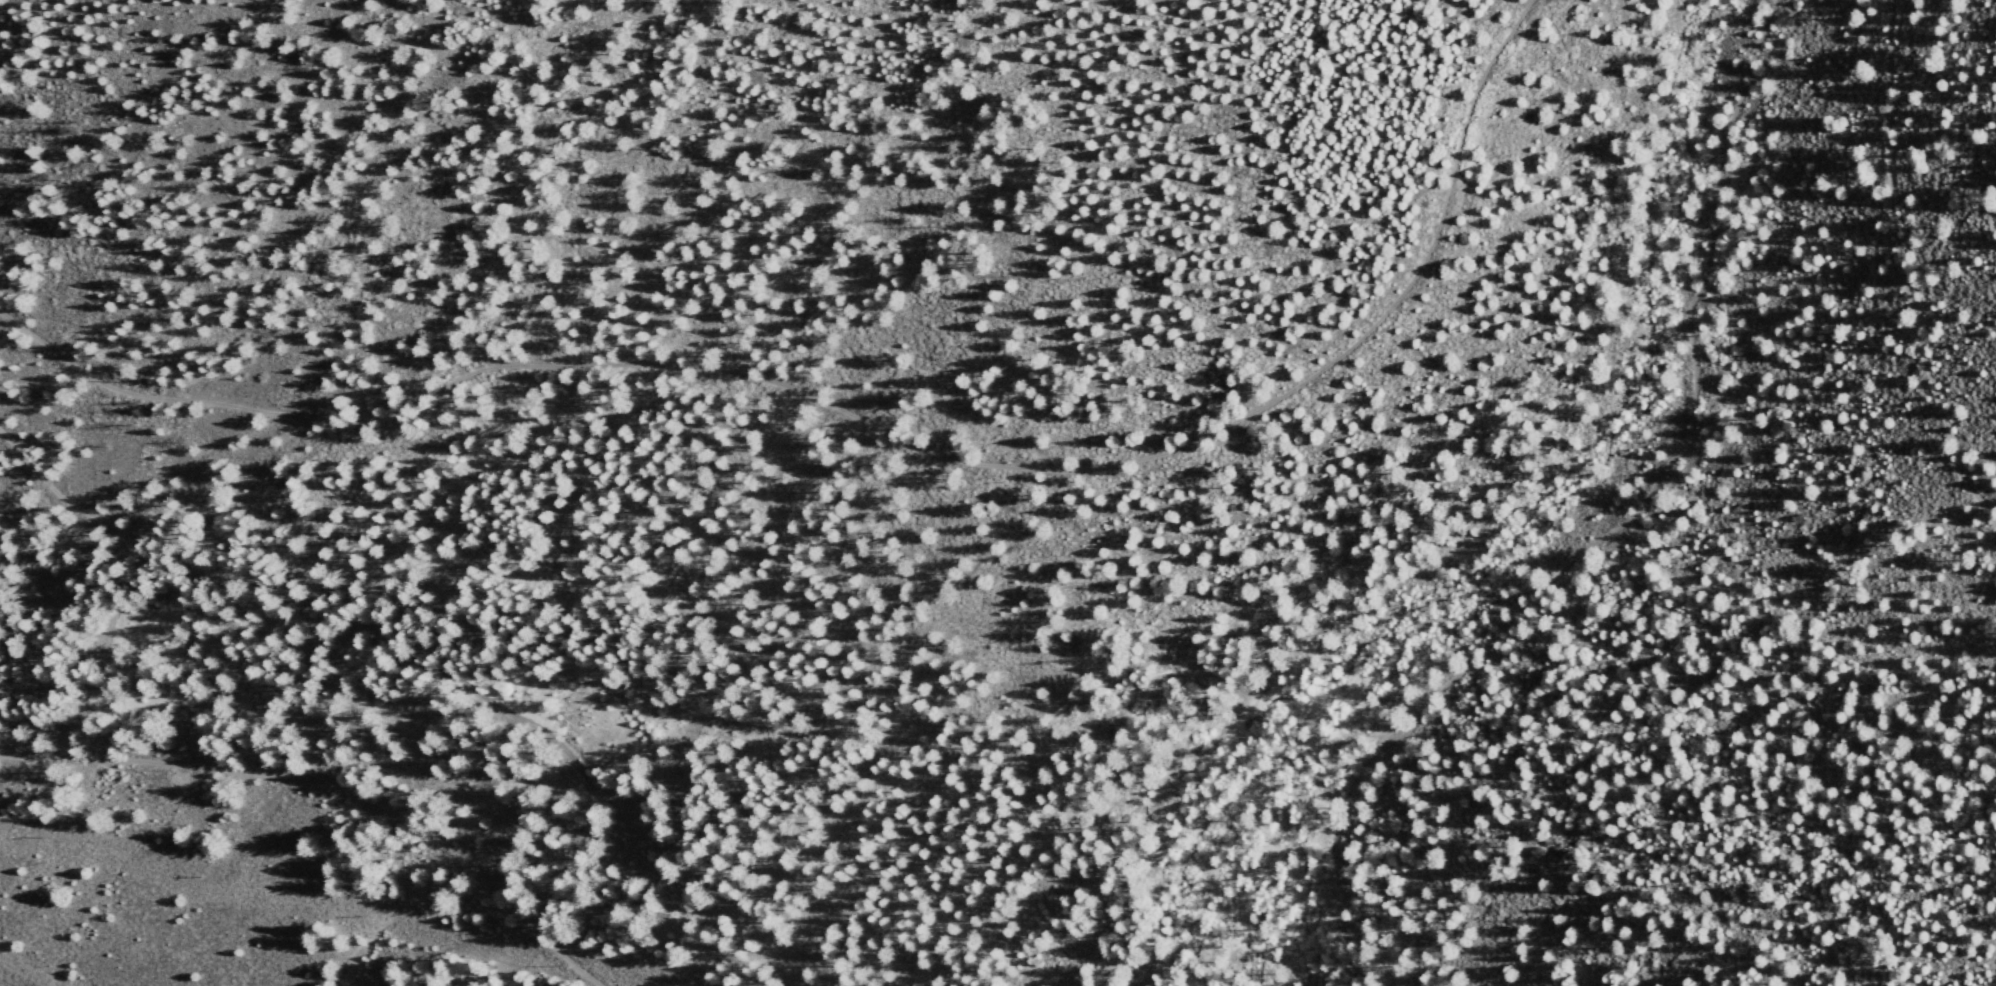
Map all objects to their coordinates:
road: (1900, 270)
road: (869, 419)
road: (1612, 529)
road: (426, 662)
road: (338, 779)

